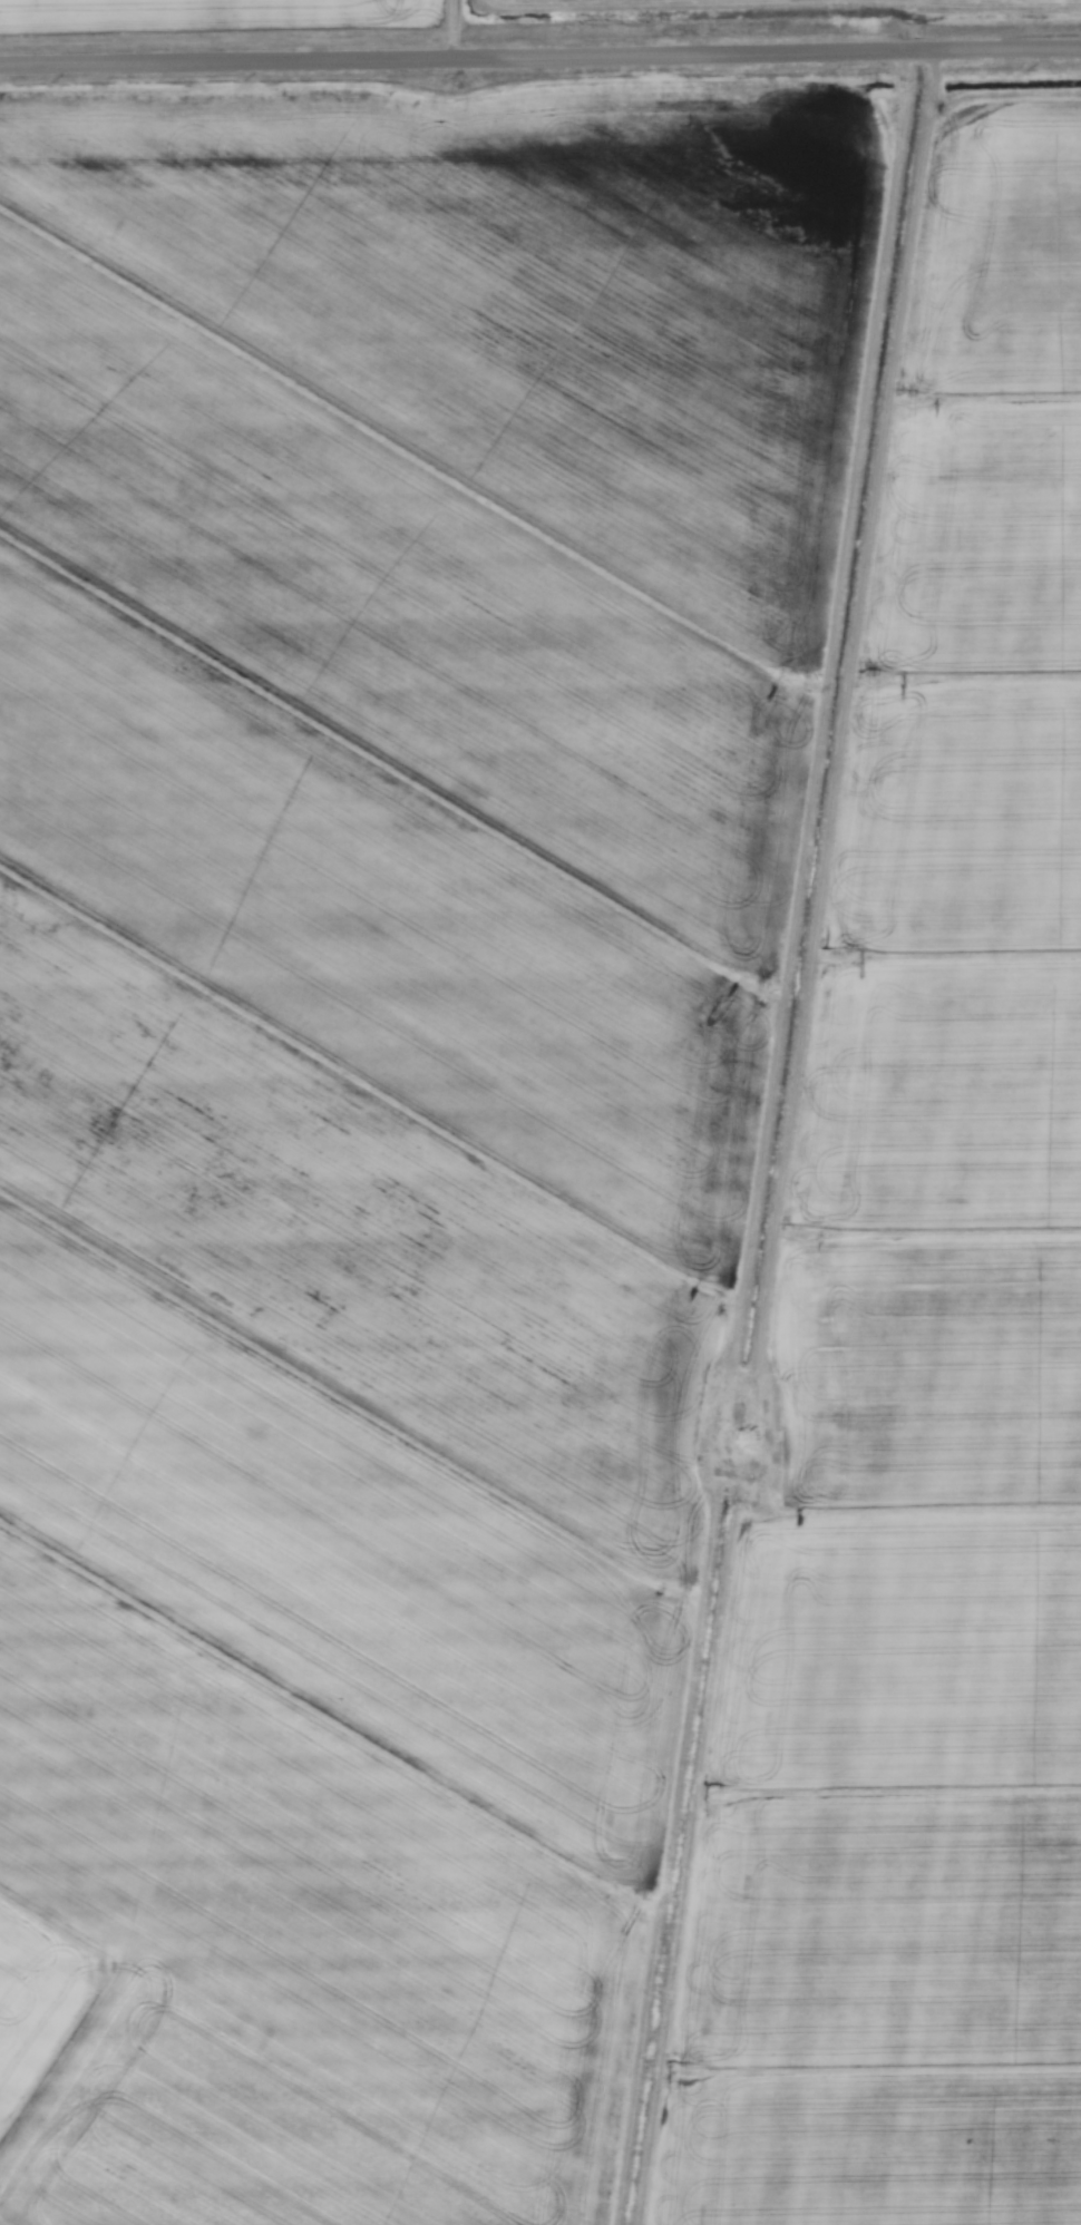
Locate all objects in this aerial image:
road: (540, 68)

